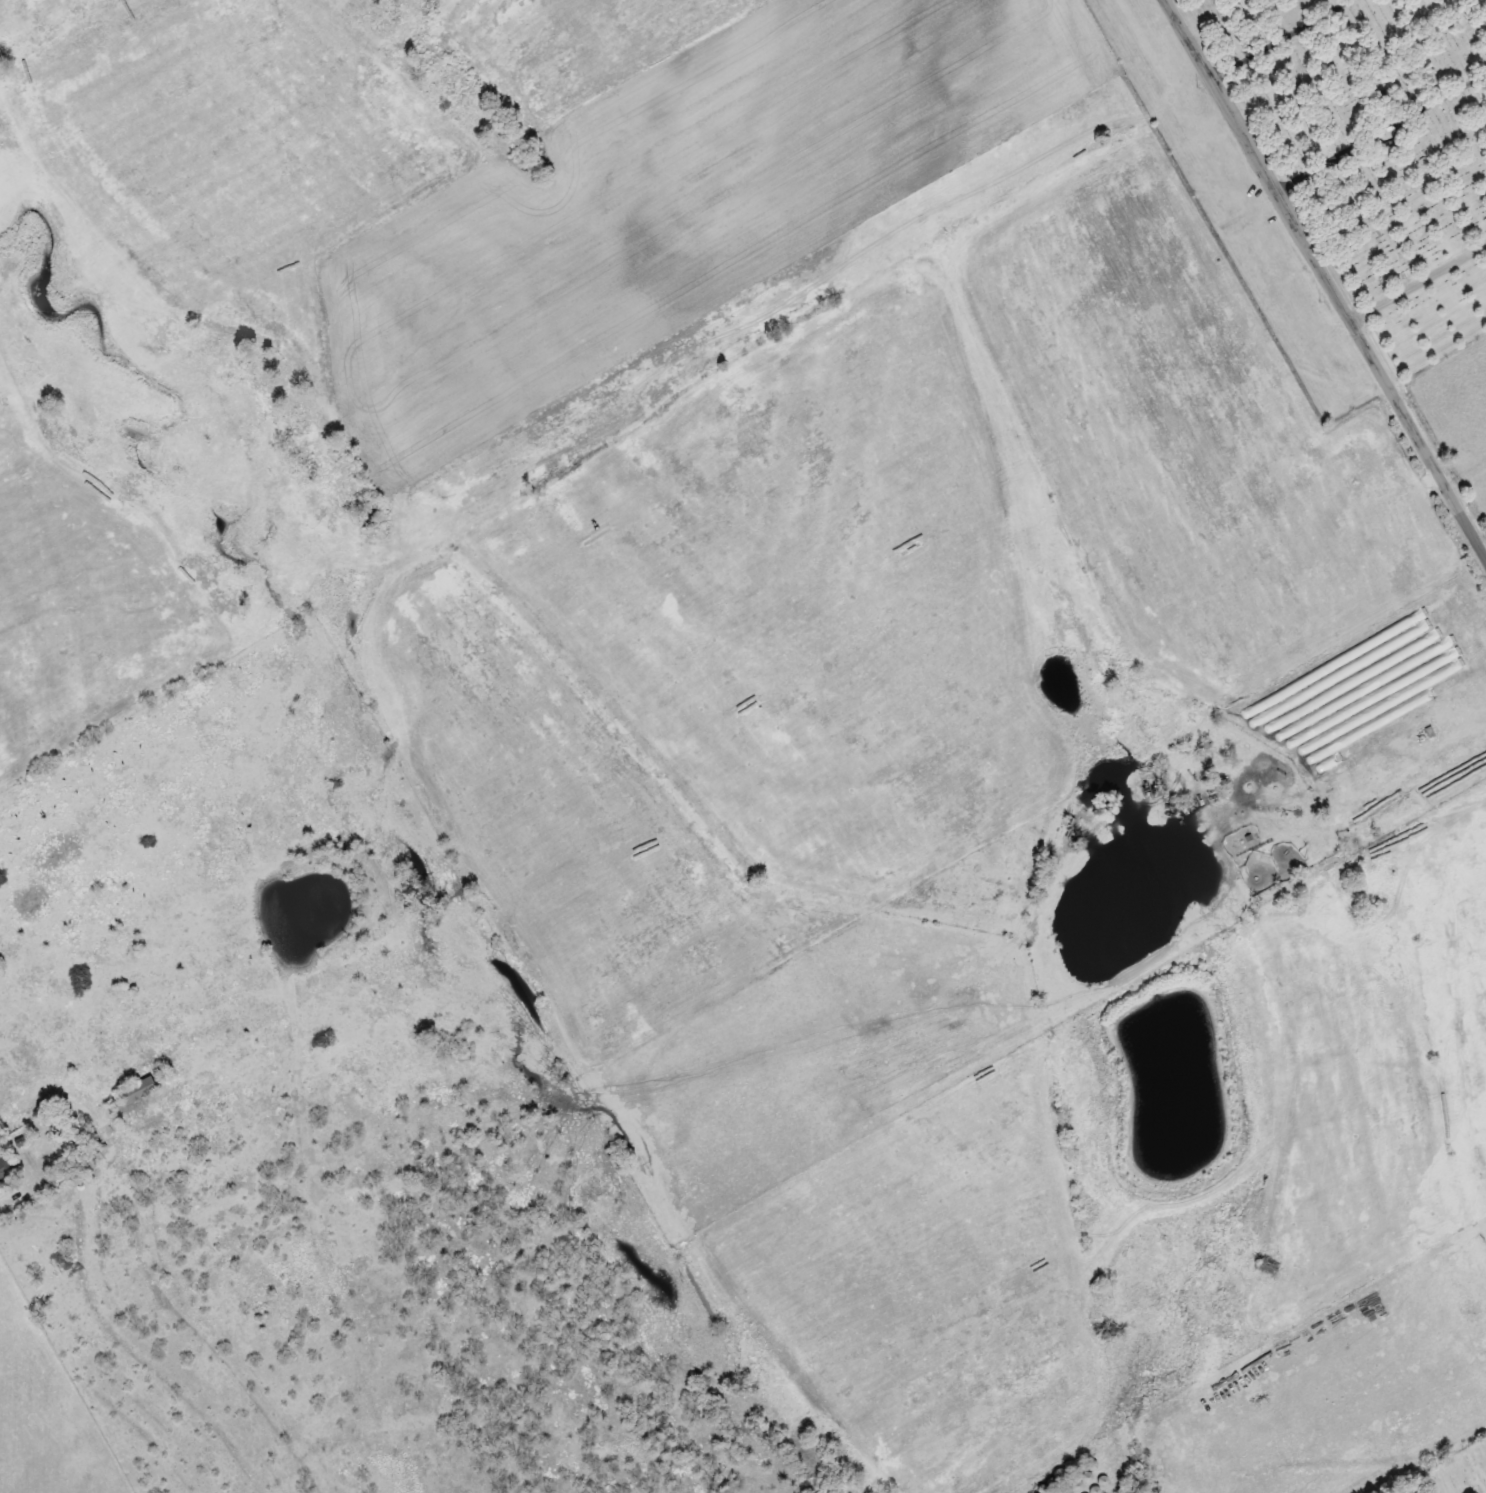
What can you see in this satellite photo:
road: (1327, 279)
building: (137, 1090)
building: (6, 1166)
park: (1460, 1471)

